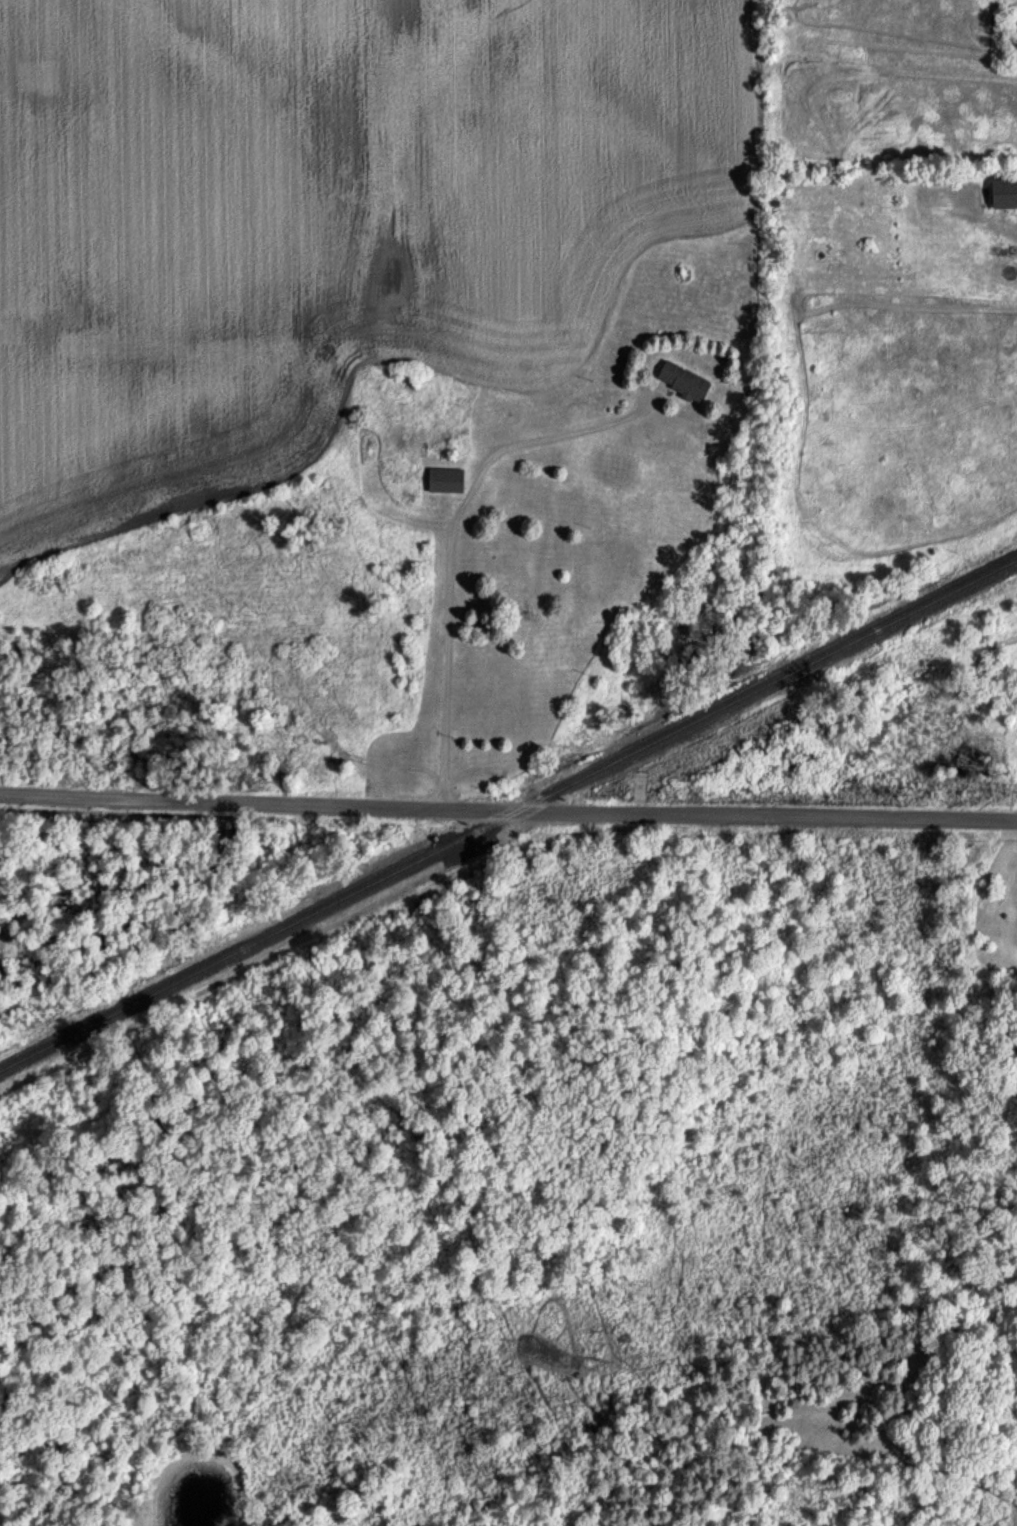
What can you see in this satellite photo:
building: (1004, 192)
building: (682, 380)
crop: (511, 405)
building: (445, 479)
road: (449, 549)
railway: (763, 688)
road: (508, 814)
railway: (254, 942)

